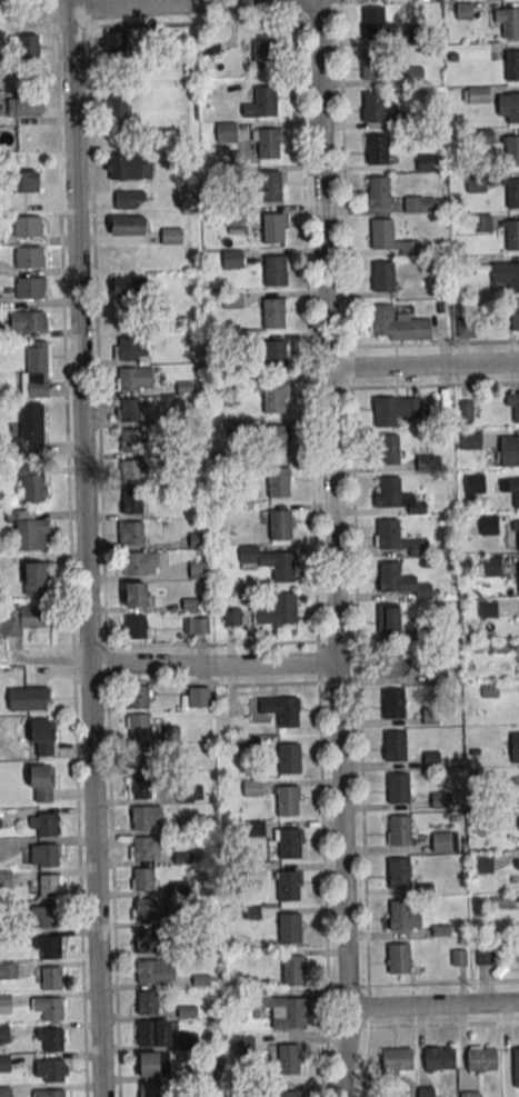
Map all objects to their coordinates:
road: (183, 4)
building: (373, 24)
building: (510, 24)
building: (113, 42)
building: (28, 47)
building: (263, 57)
building: (371, 66)
building: (512, 68)
building: (478, 94)
building: (265, 102)
building: (117, 106)
building: (24, 107)
building: (375, 108)
building: (512, 109)
building: (226, 131)
building: (268, 144)
building: (377, 150)
building: (512, 151)
building: (127, 167)
road: (343, 173)
building: (24, 181)
building: (476, 182)
building: (270, 187)
building: (379, 192)
building: (512, 193)
building: (127, 199)
building: (419, 205)
building: (482, 223)
building: (128, 225)
building: (29, 226)
building: (272, 229)
building: (171, 236)
building: (381, 236)
building: (512, 236)
building: (30, 257)
building: (232, 258)
building: (276, 272)
building: (383, 278)
building: (512, 279)
building: (127, 286)
building: (31, 288)
building: (272, 313)
building: (515, 317)
building: (29, 321)
building: (382, 321)
building: (131, 349)
building: (276, 355)
road: (423, 365)
road: (349, 366)
building: (37, 370)
building: (133, 379)
building: (276, 397)
building: (515, 406)
building: (129, 409)
building: (383, 411)
building: (31, 429)
building: (470, 439)
building: (130, 440)
building: (277, 440)
building: (387, 449)
building: (509, 450)
building: (426, 462)
building: (136, 471)
building: (279, 482)
building: (32, 483)
building: (475, 483)
building: (388, 491)
building: (516, 492)
building: (130, 502)
road: (313, 516)
building: (280, 525)
building: (488, 525)
building: (29, 530)
building: (131, 532)
building: (387, 533)
building: (518, 535)
building: (197, 540)
road: (86, 548)
road: (333, 548)
building: (270, 561)
building: (140, 564)
building: (491, 566)
building: (199, 570)
building: (389, 576)
building: (517, 576)
building: (34, 578)
building: (136, 596)
building: (277, 610)
building: (232, 616)
building: (22, 618)
building: (387, 618)
building: (197, 625)
building: (136, 627)
building: (388, 660)
road: (213, 664)
building: (435, 672)
building: (137, 696)
building: (197, 697)
building: (28, 698)
building: (392, 702)
building: (287, 711)
building: (429, 716)
building: (137, 725)
building: (41, 738)
road: (359, 742)
building: (393, 746)
building: (515, 747)
building: (139, 755)
building: (289, 759)
building: (430, 759)
building: (40, 782)
building: (139, 786)
building: (252, 788)
building: (397, 788)
building: (189, 792)
building: (439, 798)
building: (287, 799)
building: (140, 818)
building: (480, 820)
building: (47, 824)
building: (398, 829)
building: (440, 841)
building: (289, 842)
building: (143, 848)
building: (47, 855)
building: (482, 862)
building: (517, 864)
building: (397, 872)
building: (142, 878)
building: (48, 885)
building: (287, 886)
building: (143, 909)
building: (399, 915)
building: (48, 916)
building: (289, 927)
building: (144, 940)
building: (50, 947)
building: (485, 956)
building: (397, 958)
building: (292, 969)
building: (8, 970)
building: (146, 971)
building: (50, 978)
road: (442, 984)
building: (146, 1001)
building: (6, 1004)
road: (432, 1004)
building: (51, 1008)
building: (281, 1008)
road: (443, 1024)
building: (146, 1031)
building: (3, 1034)
building: (51, 1039)
building: (188, 1040)
building: (243, 1045)
building: (288, 1058)
building: (438, 1058)
building: (480, 1058)
building: (396, 1059)
building: (148, 1064)
building: (516, 1066)
building: (211, 1069)
building: (53, 1070)
building: (148, 1090)
building: (4, 1091)
building: (426, 1091)
building: (53, 1093)
building: (285, 1094)
building: (470, 1094)

